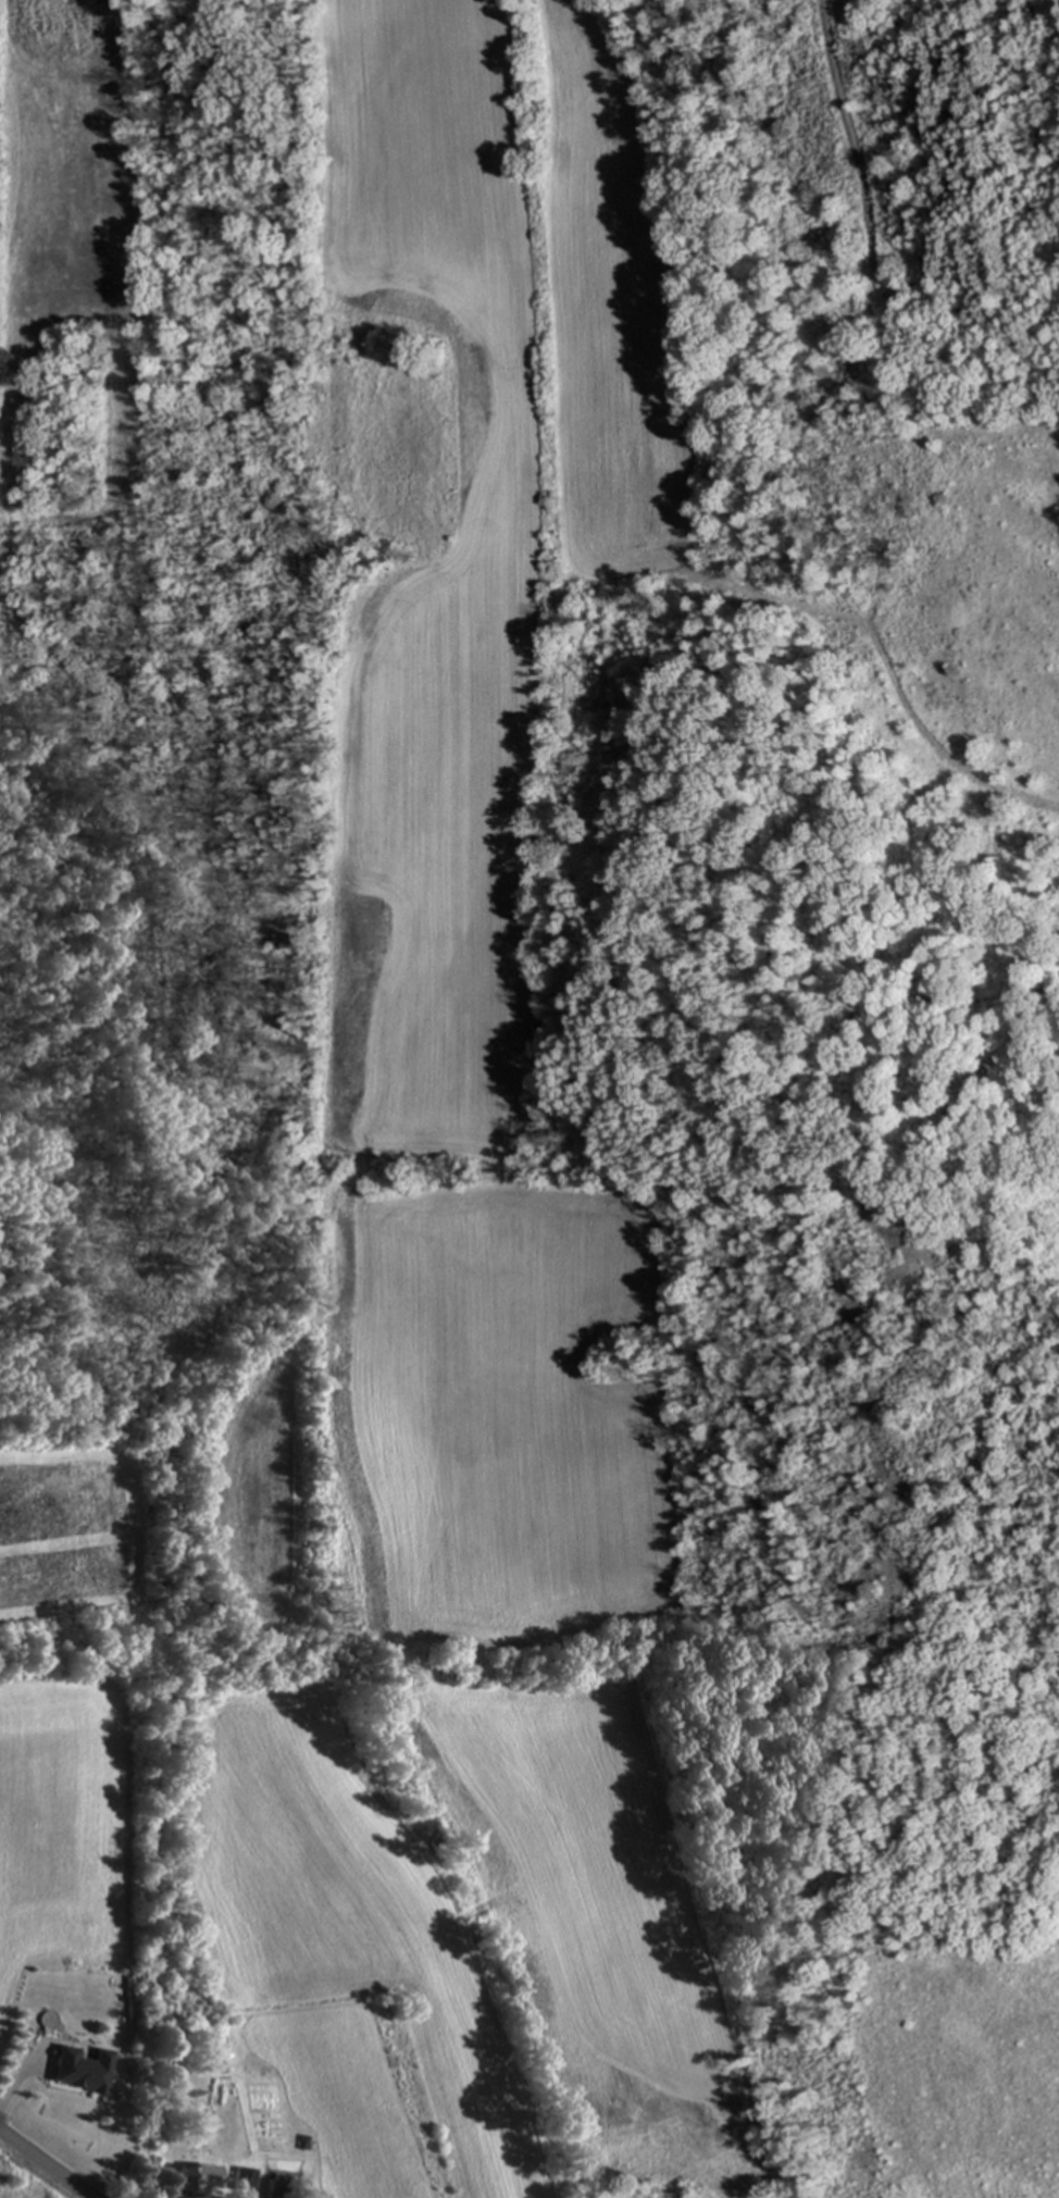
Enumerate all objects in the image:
road: (46, 2163)
building: (195, 2180)
building: (245, 2180)
building: (274, 2189)

